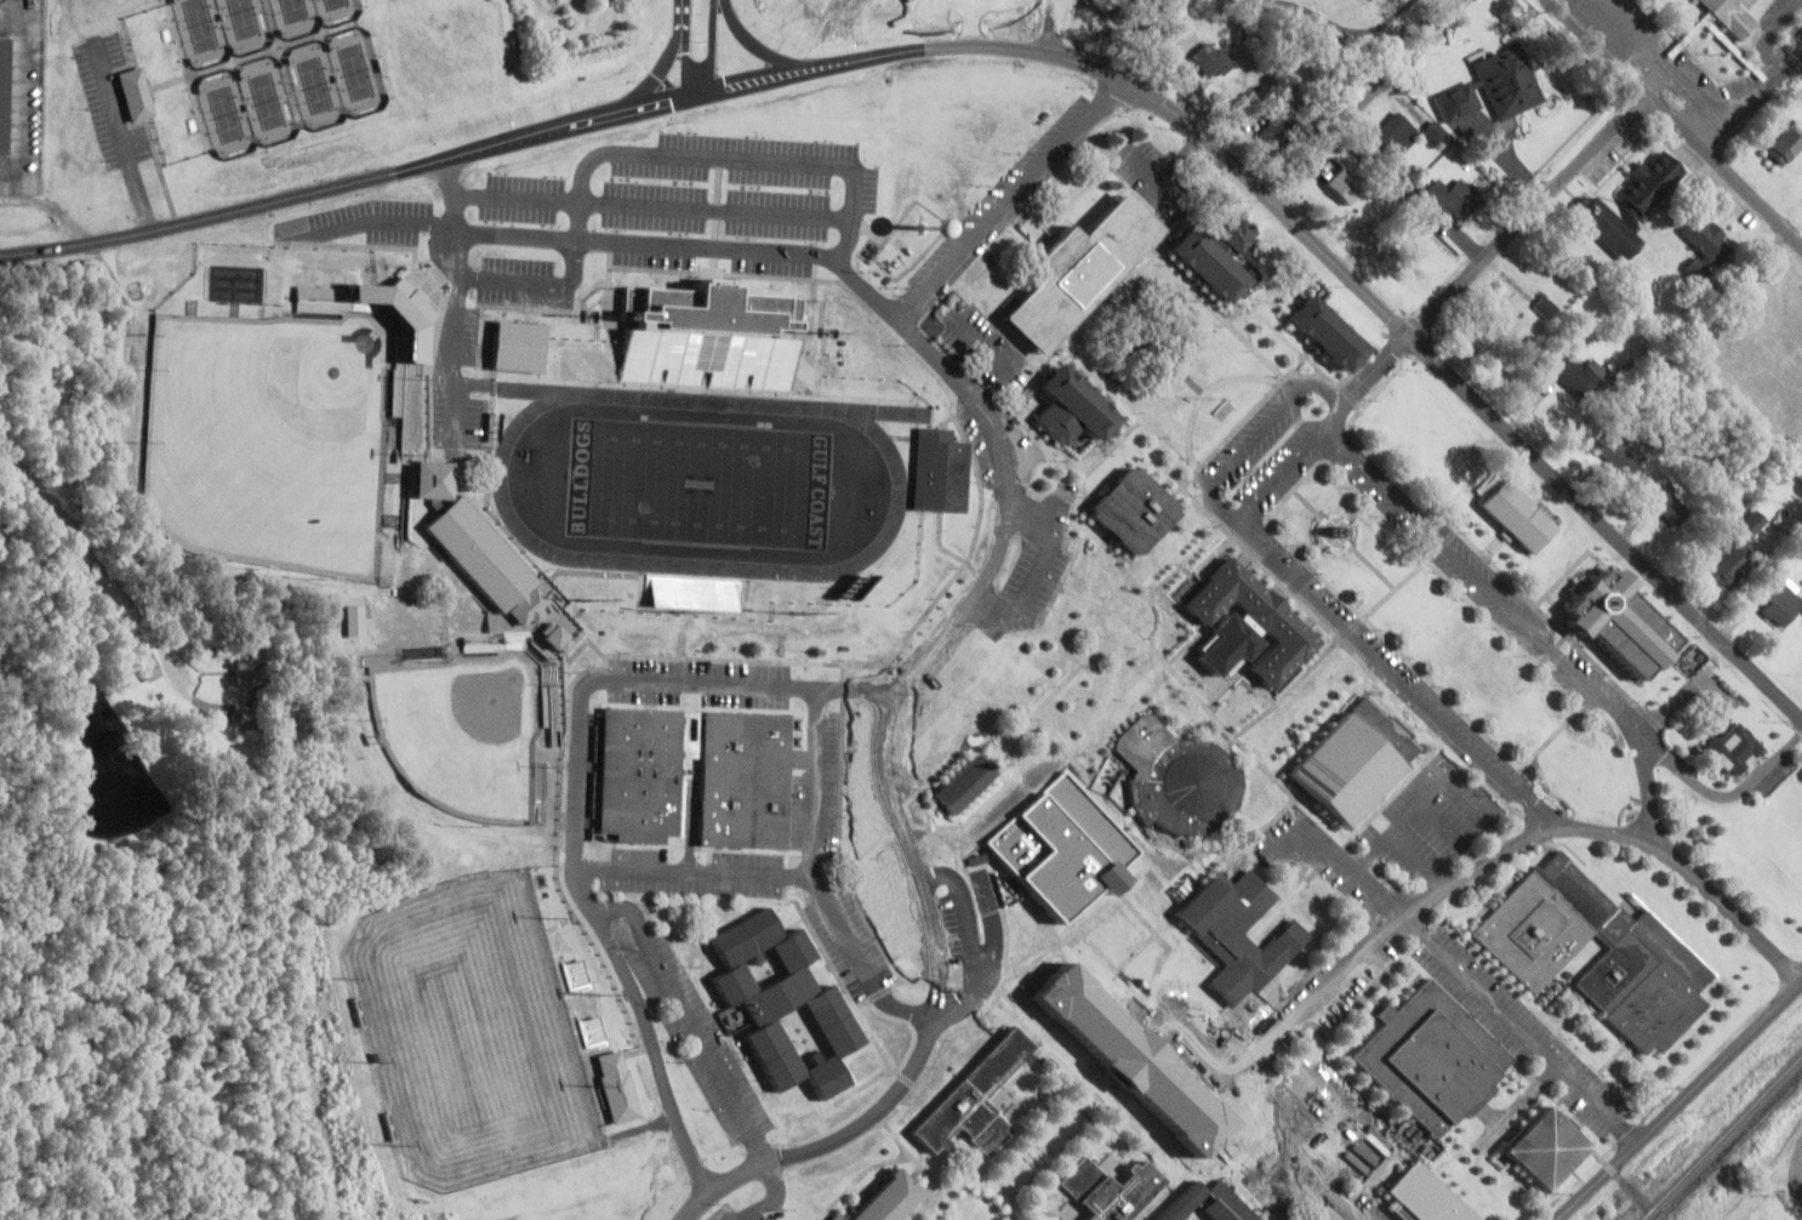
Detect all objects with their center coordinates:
road: (943, 0)
park: (335, 7)
road: (682, 8)
park: (292, 13)
building: (1732, 15)
park: (241, 22)
road: (974, 22)
park: (198, 29)
road: (713, 47)
road: (759, 49)
road: (688, 58)
building: (1207, 58)
park: (355, 65)
road: (654, 72)
park: (314, 78)
building: (1507, 81)
building: (1453, 85)
building: (138, 93)
park: (264, 93)
building: (5, 95)
parking lot: (106, 95)
road: (1753, 96)
building: (1459, 98)
road: (1367, 99)
park: (223, 107)
road: (1140, 109)
road: (1678, 120)
road: (564, 130)
building: (1276, 130)
road: (120, 131)
building: (1435, 131)
building: (1392, 135)
building: (1786, 142)
road: (1084, 143)
building: (1351, 184)
road: (1011, 200)
building: (1442, 200)
building: (1629, 203)
road: (1528, 212)
water tower: (922, 229)
road: (655, 245)
building: (1703, 246)
building: (1214, 256)
building: (1080, 272)
road: (460, 297)
road: (1207, 300)
road: (1270, 301)
building: (404, 306)
building: (1545, 306)
road: (1241, 309)
road: (1264, 317)
building: (1501, 318)
road: (1249, 326)
road: (1145, 330)
building: (1325, 332)
building: (709, 338)
road: (437, 342)
road: (985, 342)
road: (1162, 346)
road: (1019, 347)
building: (519, 348)
road: (1319, 370)
road: (1291, 375)
building: (1573, 375)
road: (987, 376)
road: (1365, 378)
road: (1469, 393)
road: (1127, 404)
building: (1073, 407)
road: (1359, 410)
road: (1192, 418)
road: (1236, 431)
park: (269, 435)
road: (1258, 439)
road: (457, 444)
building: (1619, 455)
road: (1327, 461)
building: (937, 471)
track: (500, 479)
road: (1084, 479)
park: (700, 481)
road: (1462, 494)
building: (1671, 503)
building: (1134, 509)
road: (1031, 513)
building: (1516, 514)
building: (1753, 523)
road: (1339, 530)
building: (466, 537)
road: (81, 541)
road: (1352, 542)
road: (962, 548)
road: (1107, 549)
road: (1185, 561)
building: (1733, 564)
road: (1038, 569)
road: (1379, 569)
road: (534, 575)
road: (1065, 578)
road: (1387, 578)
road: (529, 588)
road: (1397, 588)
road: (979, 589)
road: (1131, 592)
road: (1084, 597)
building: (1780, 602)
road: (445, 606)
building: (1253, 617)
building: (353, 620)
road: (1527, 622)
building: (1635, 622)
road: (1174, 625)
road: (484, 627)
road: (1055, 627)
road: (1352, 631)
road: (520, 644)
road: (1353, 651)
building: (146, 665)
building: (239, 671)
road: (1137, 677)
road: (578, 678)
road: (771, 685)
road: (1191, 685)
road: (1261, 691)
road: (1049, 699)
building: (238, 713)
park: (463, 734)
building: (1733, 748)
building: (1357, 763)
road: (843, 768)
building: (1179, 779)
road: (817, 781)
road: (1043, 783)
building: (964, 785)
road: (1290, 788)
road: (1721, 793)
road: (1420, 796)
building: (742, 799)
road: (1443, 817)
road: (1055, 822)
road: (1521, 854)
road: (1341, 859)
road: (1416, 859)
road: (1489, 861)
road: (1157, 862)
road: (1372, 865)
road: (695, 872)
road: (1037, 884)
road: (690, 894)
road: (1290, 897)
road: (1161, 907)
road: (1151, 917)
road: (1299, 920)
road: (605, 931)
building: (743, 936)
road: (889, 952)
building: (1230, 952)
building: (1646, 960)
building: (1162, 965)
building: (578, 975)
road: (902, 980)
road: (1299, 986)
road: (1107, 994)
road: (1148, 1005)
building: (826, 1011)
road: (1504, 1013)
road: (1544, 1015)
road: (1573, 1016)
road: (690, 1021)
road: (720, 1024)
building: (594, 1031)
park: (464, 1032)
road: (1187, 1034)
road: (1492, 1034)
road: (860, 1045)
road: (1156, 1057)
building: (1429, 1057)
road: (1614, 1057)
road: (1034, 1061)
road: (1118, 1061)
road: (1338, 1065)
road: (1152, 1081)
building: (620, 1087)
building: (973, 1098)
road: (1676, 1098)
road: (1043, 1099)
road: (1127, 1101)
road: (1372, 1123)
road: (1045, 1124)
road: (1113, 1125)
road: (1253, 1133)
road: (1310, 1135)
road: (1028, 1138)
railway: (1723, 1139)
road: (1142, 1142)
road: (1398, 1142)
road: (1066, 1145)
building: (1544, 1146)
road: (905, 1147)
road: (1289, 1147)
road: (1045, 1171)
road: (975, 1175)
road: (1801, 1175)
road: (859, 1178)
road: (739, 1179)
road: (1767, 1185)
road: (1364, 1186)
building: (1110, 1188)
road: (975, 1196)
building: (1424, 1196)
road: (765, 1198)
building: (882, 1198)
building: (1180, 1201)
building: (1225, 1204)
road: (925, 1208)
parking lot: (730, 1212)
road: (1038, 1212)

